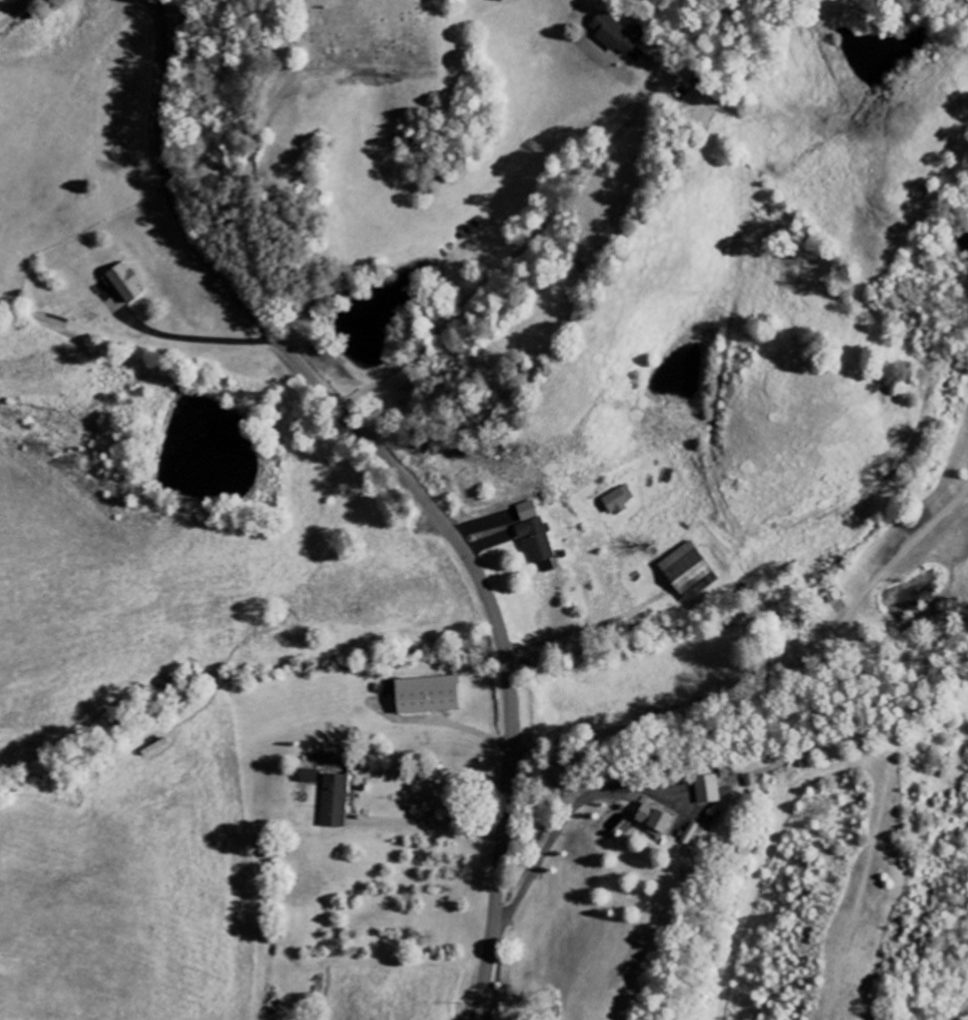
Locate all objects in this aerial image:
road: (160, 1)
road: (165, 31)
park: (357, 32)
building: (617, 33)
road: (518, 252)
road: (218, 273)
building: (124, 283)
building: (619, 501)
building: (527, 511)
building: (536, 540)
building: (688, 572)
building: (833, 596)
road: (578, 628)
road: (772, 677)
building: (426, 695)
road: (510, 743)
building: (726, 792)
building: (707, 793)
building: (335, 801)
building: (653, 821)
building: (689, 833)
road: (967, 1019)

